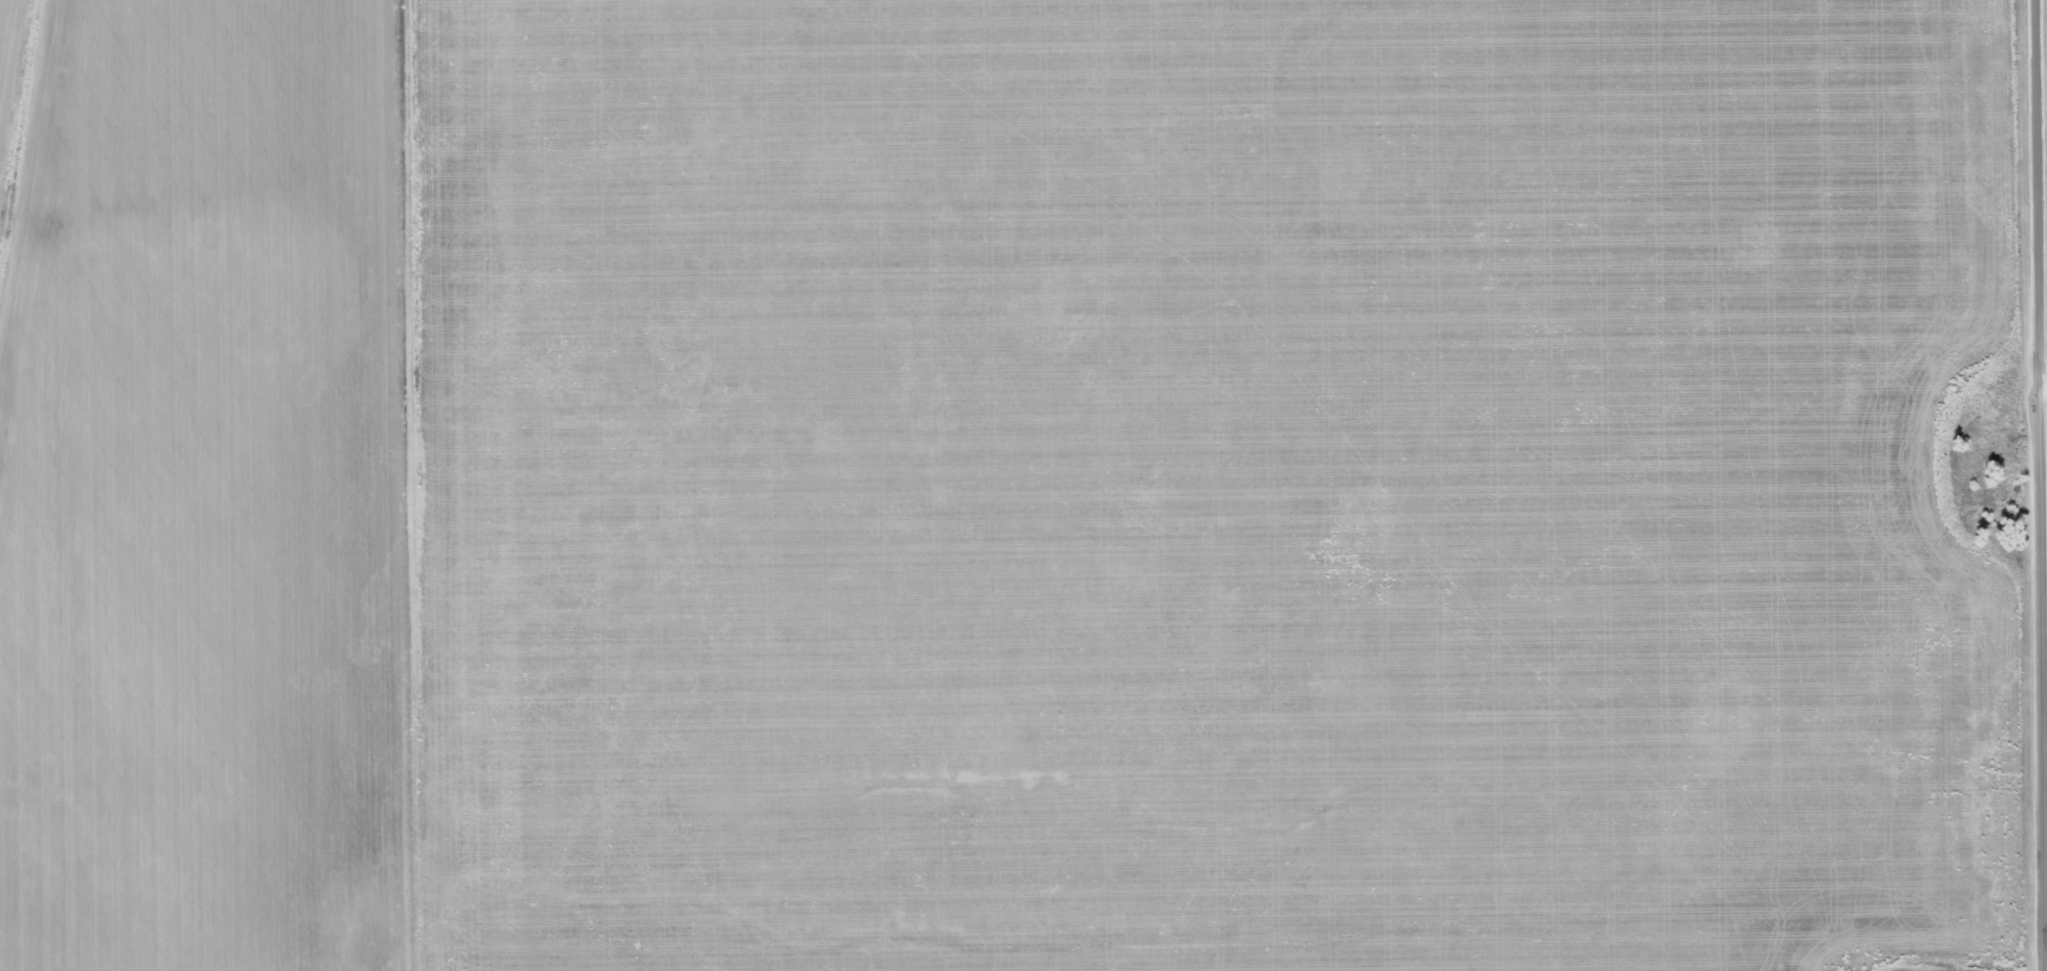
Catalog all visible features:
road: (2037, 485)
road: (2044, 822)

